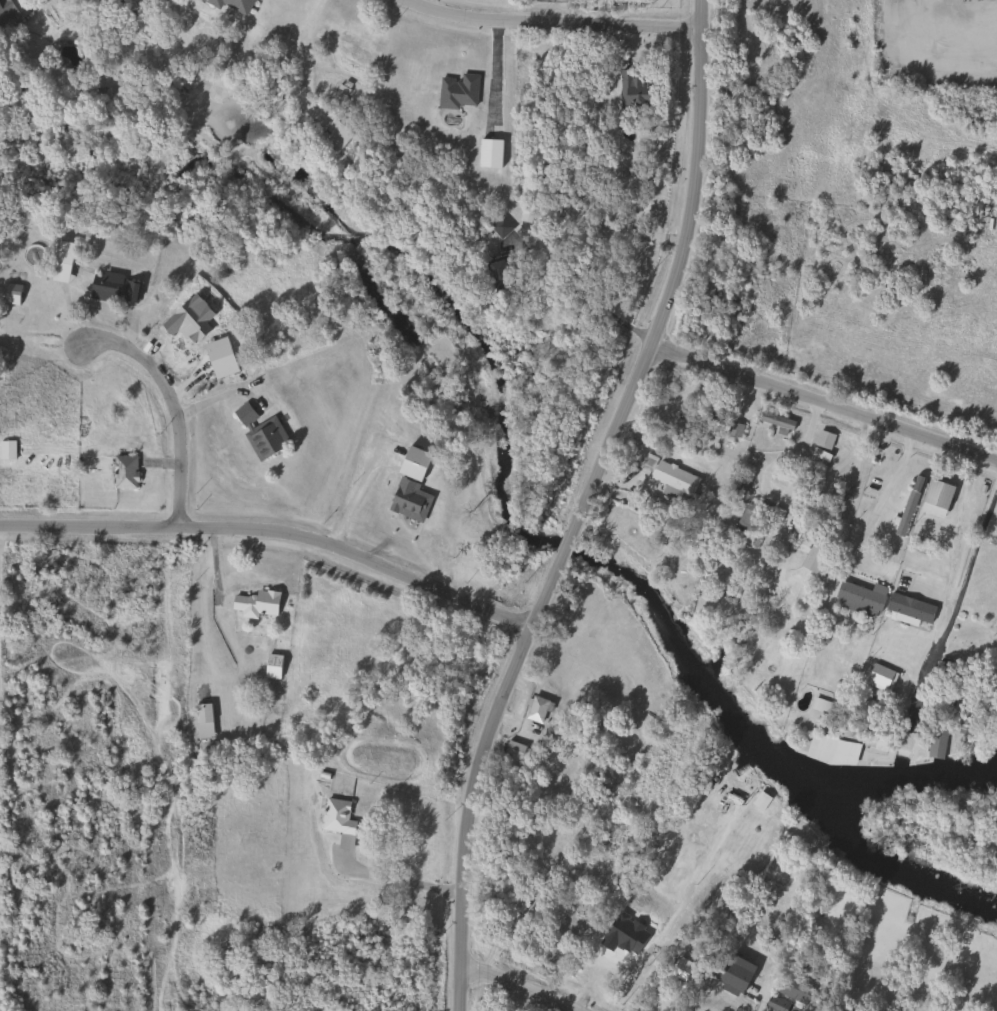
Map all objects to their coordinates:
building: (231, 4)
building: (11, 12)
road: (551, 24)
building: (633, 90)
building: (458, 91)
building: (488, 153)
building: (500, 227)
building: (63, 252)
building: (499, 272)
building: (113, 287)
building: (9, 293)
road: (588, 297)
road: (217, 396)
road: (825, 403)
road: (174, 408)
building: (776, 420)
building: (259, 431)
building: (823, 439)
building: (6, 449)
building: (124, 472)
building: (674, 481)
road: (357, 495)
building: (936, 497)
building: (409, 500)
road: (876, 501)
building: (908, 505)
road: (585, 507)
building: (774, 513)
building: (751, 518)
road: (276, 533)
river: (545, 535)
road: (955, 538)
building: (815, 553)
road: (962, 579)
road: (49, 588)
building: (859, 598)
building: (256, 603)
building: (910, 608)
building: (272, 666)
building: (537, 710)
building: (202, 713)
building: (936, 742)
building: (514, 750)
building: (831, 750)
road: (175, 805)
building: (336, 816)
road: (38, 833)
building: (600, 842)
river: (880, 852)
building: (622, 867)
road: (401, 878)
road: (39, 904)
building: (635, 937)
road: (64, 960)
road: (168, 960)
building: (680, 967)
building: (734, 973)
road: (43, 974)
road: (523, 984)
building: (794, 988)

